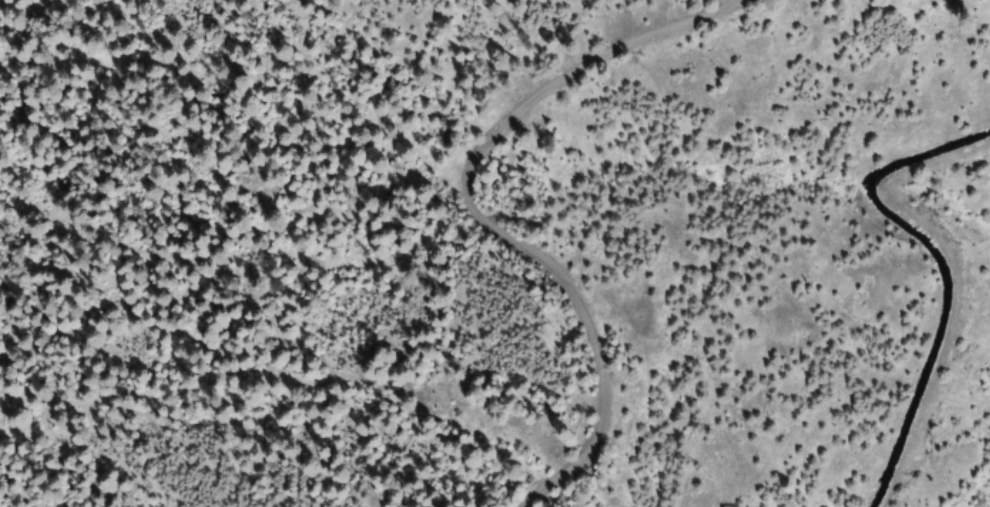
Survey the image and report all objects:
road: (578, 208)

